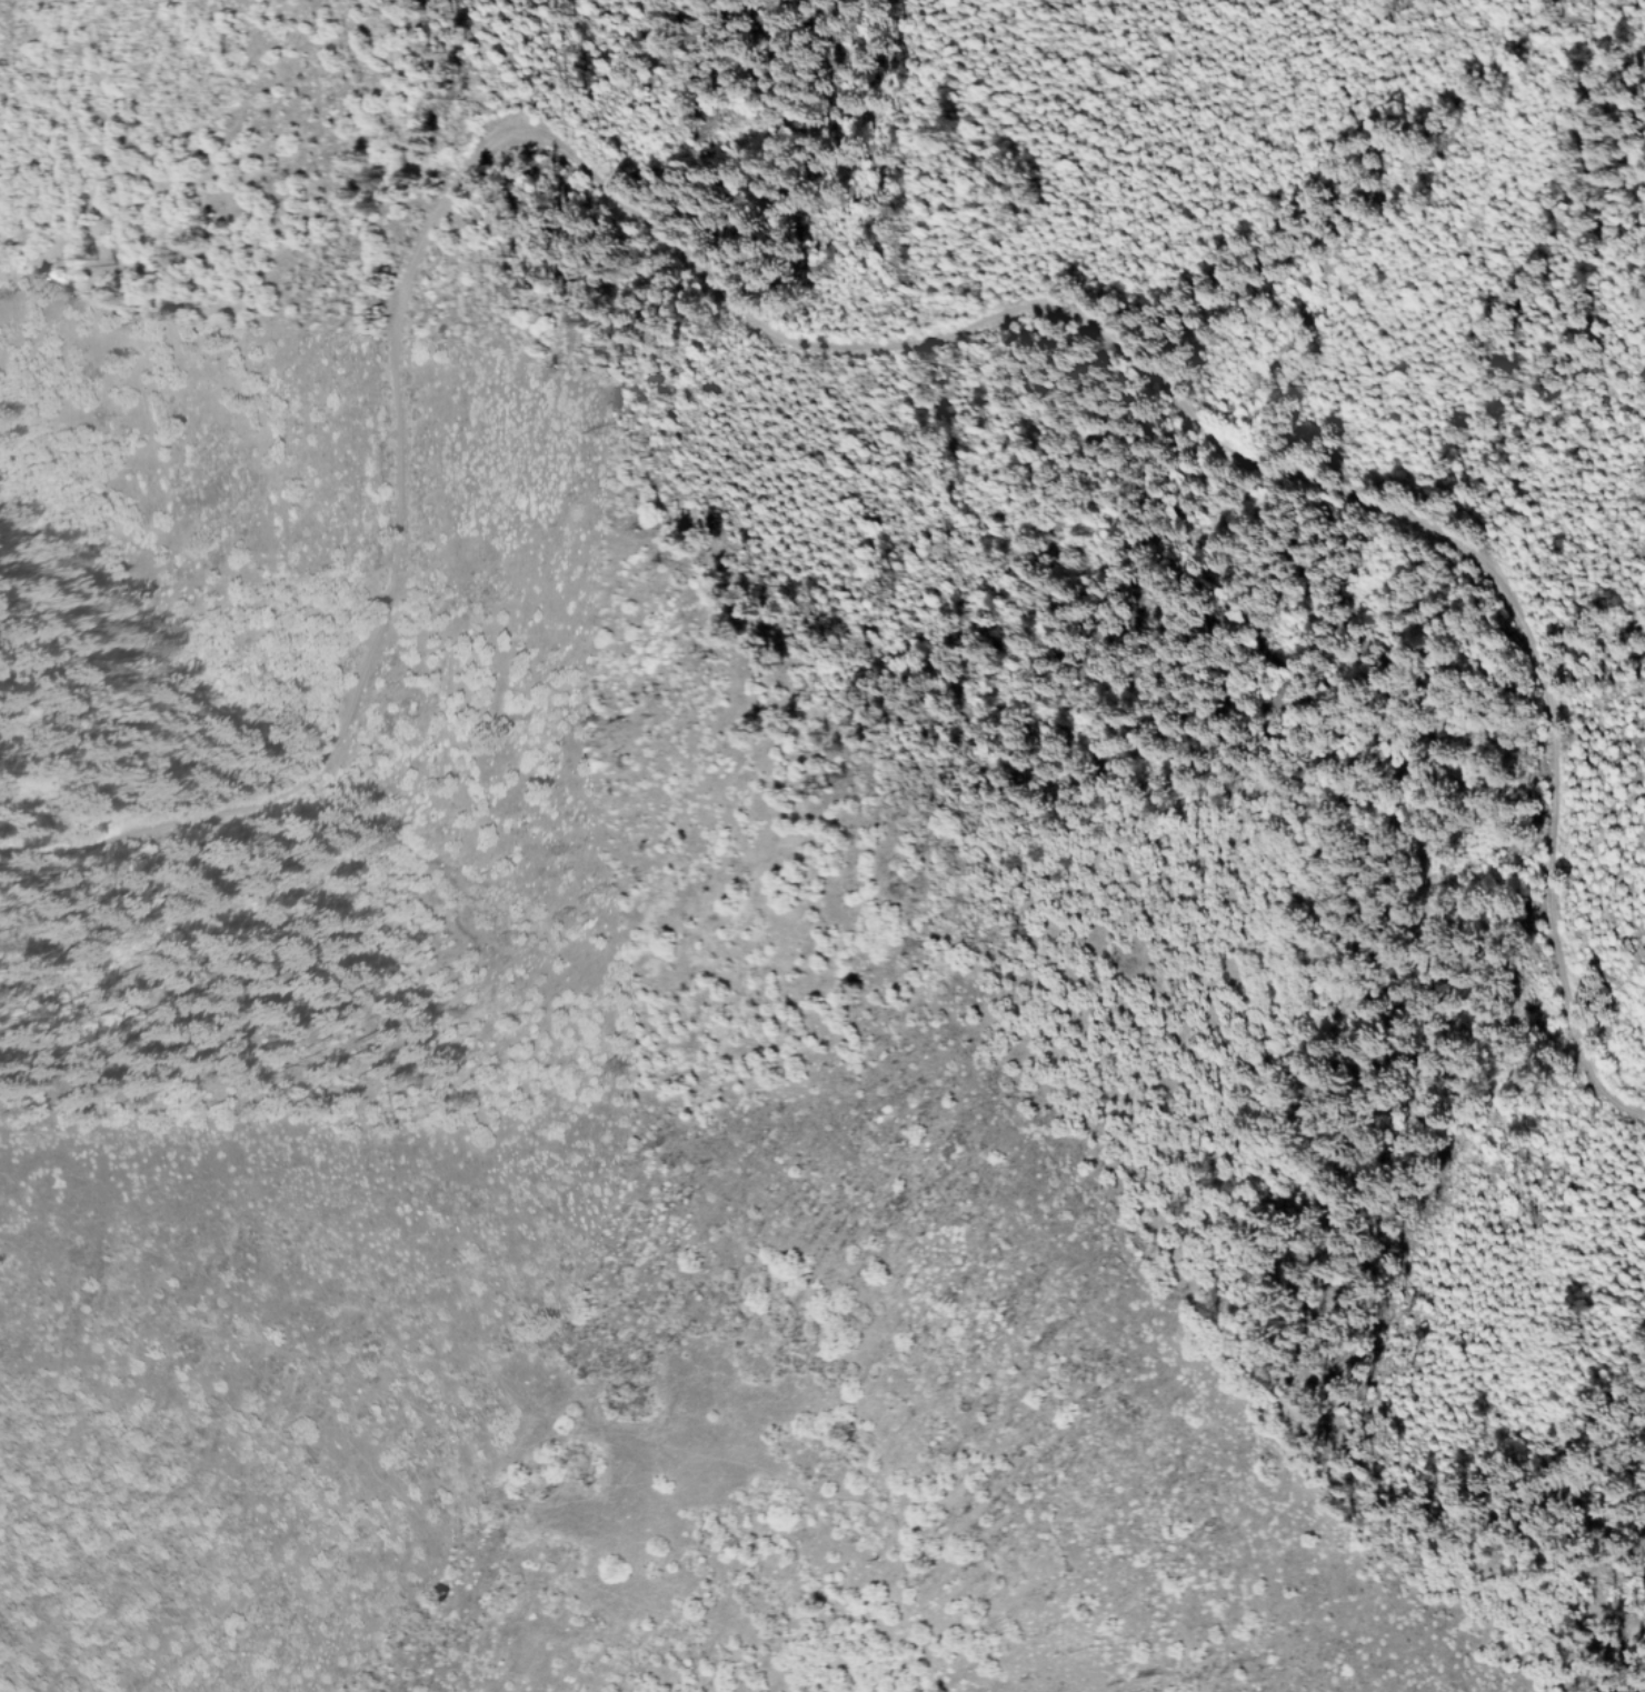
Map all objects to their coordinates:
road: (814, 304)

